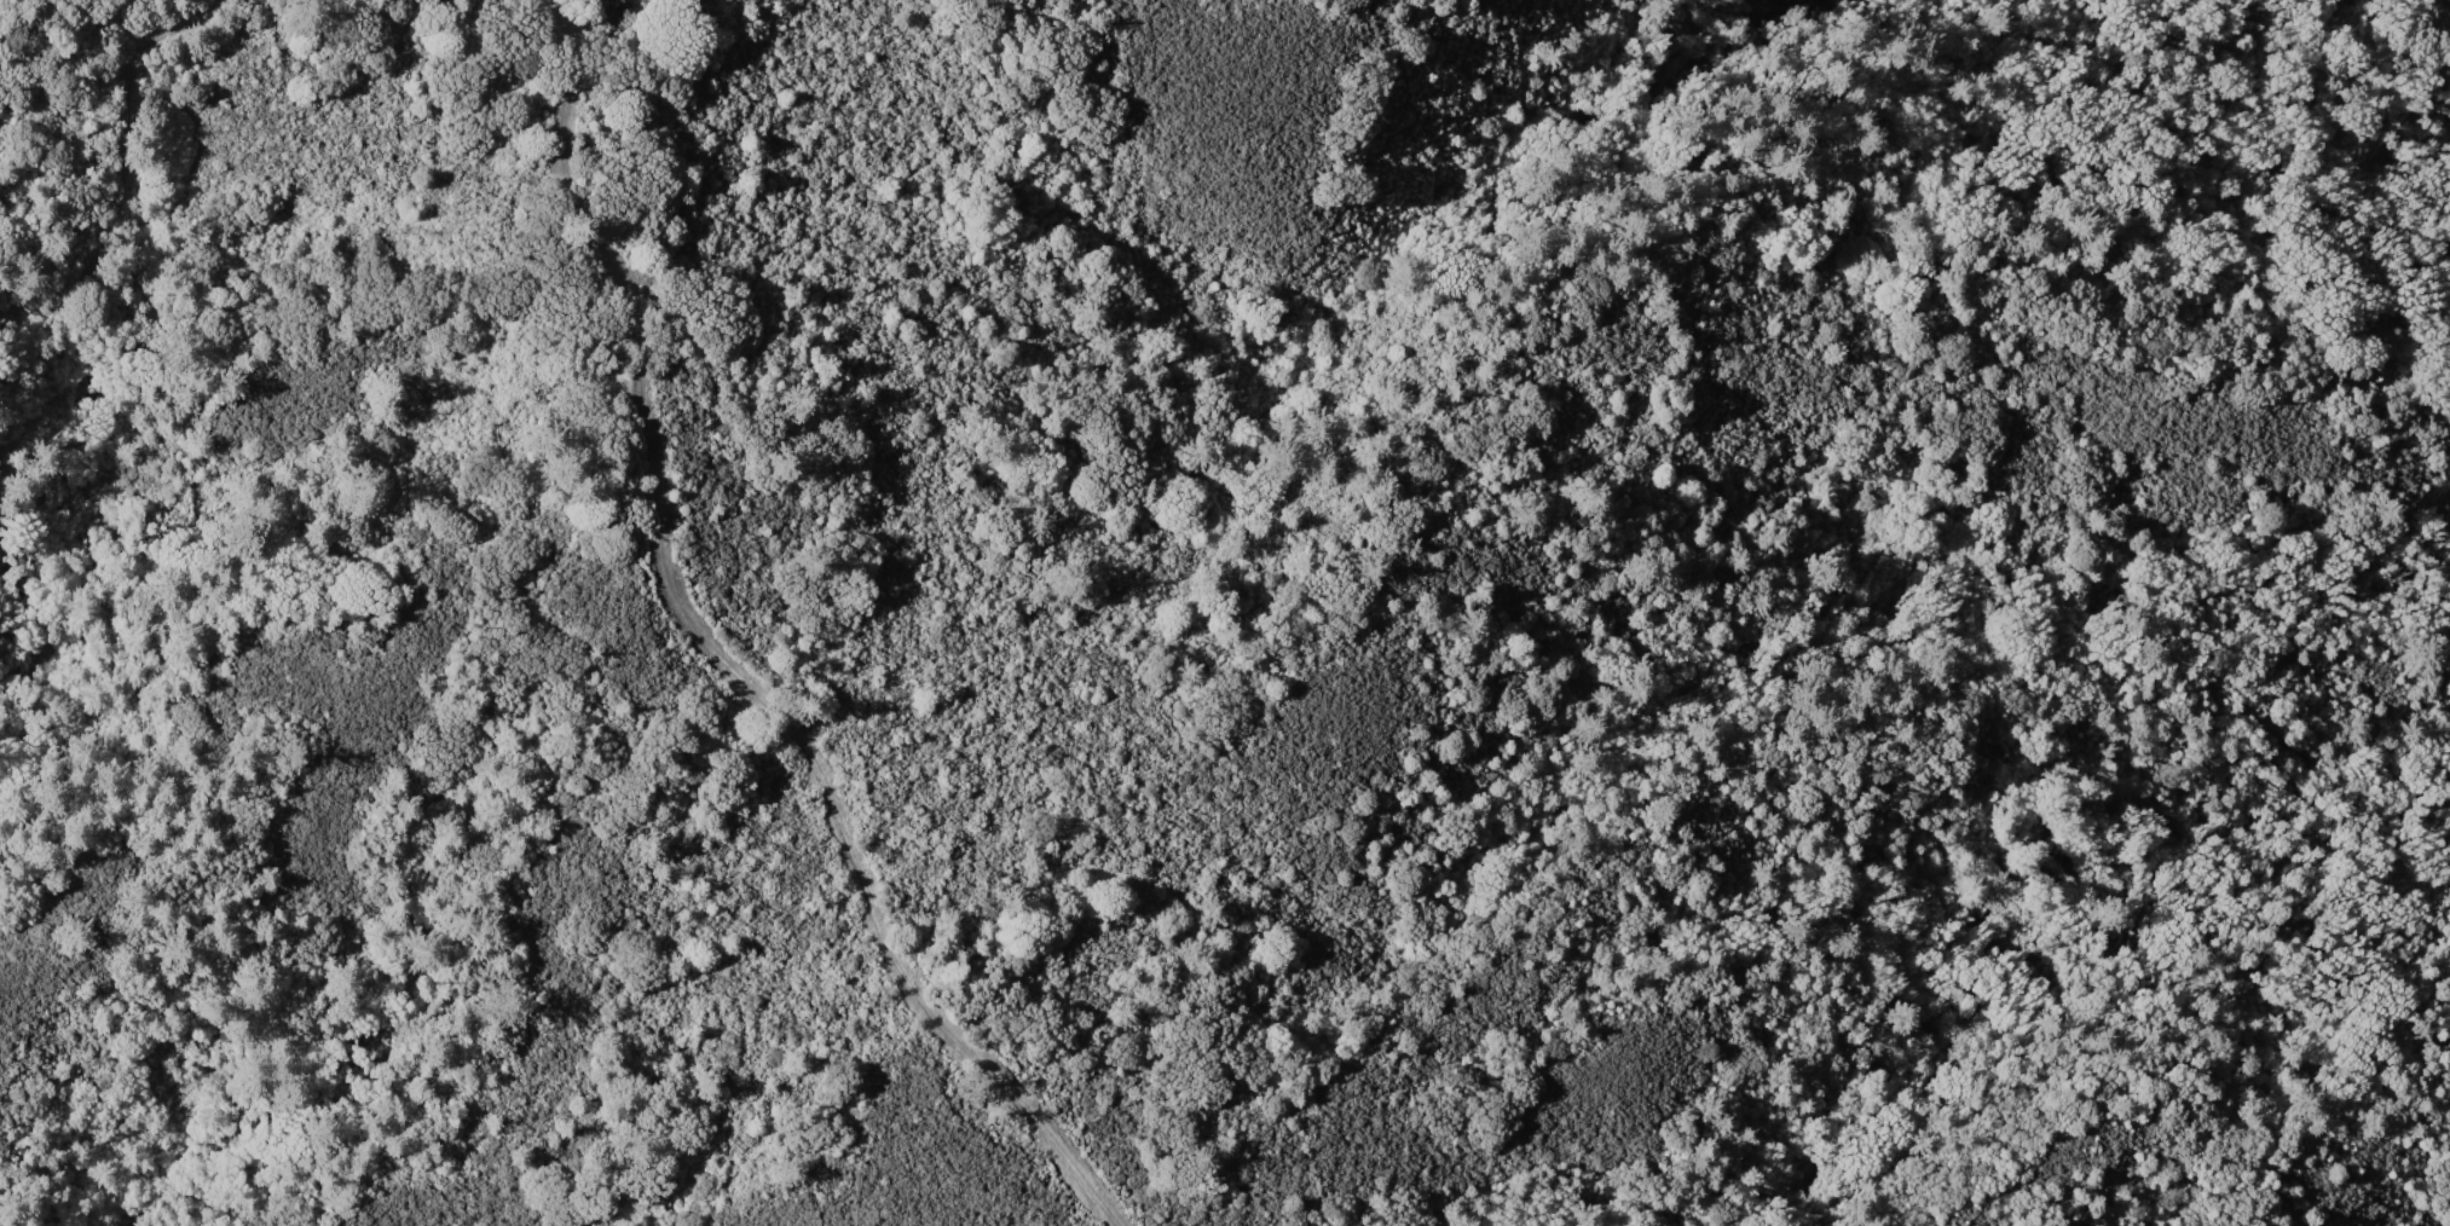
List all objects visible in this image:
road: (96, 270)
road: (729, 655)

